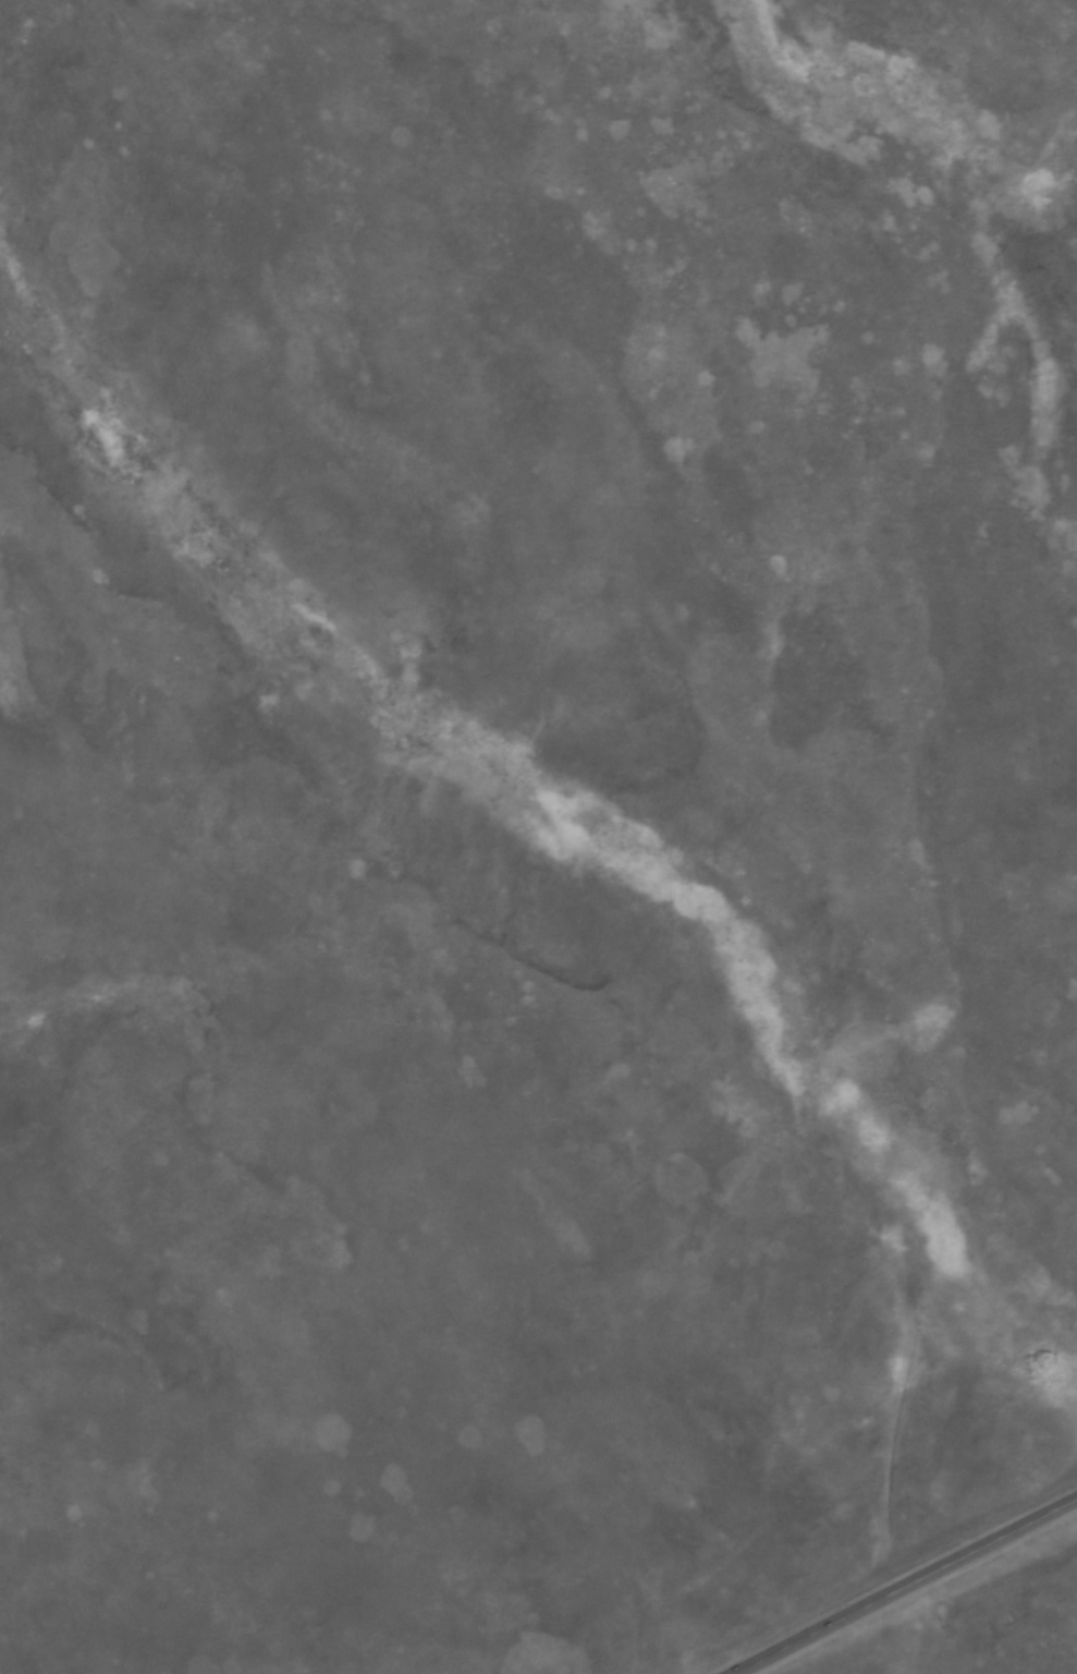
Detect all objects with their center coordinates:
road: (903, 1586)

